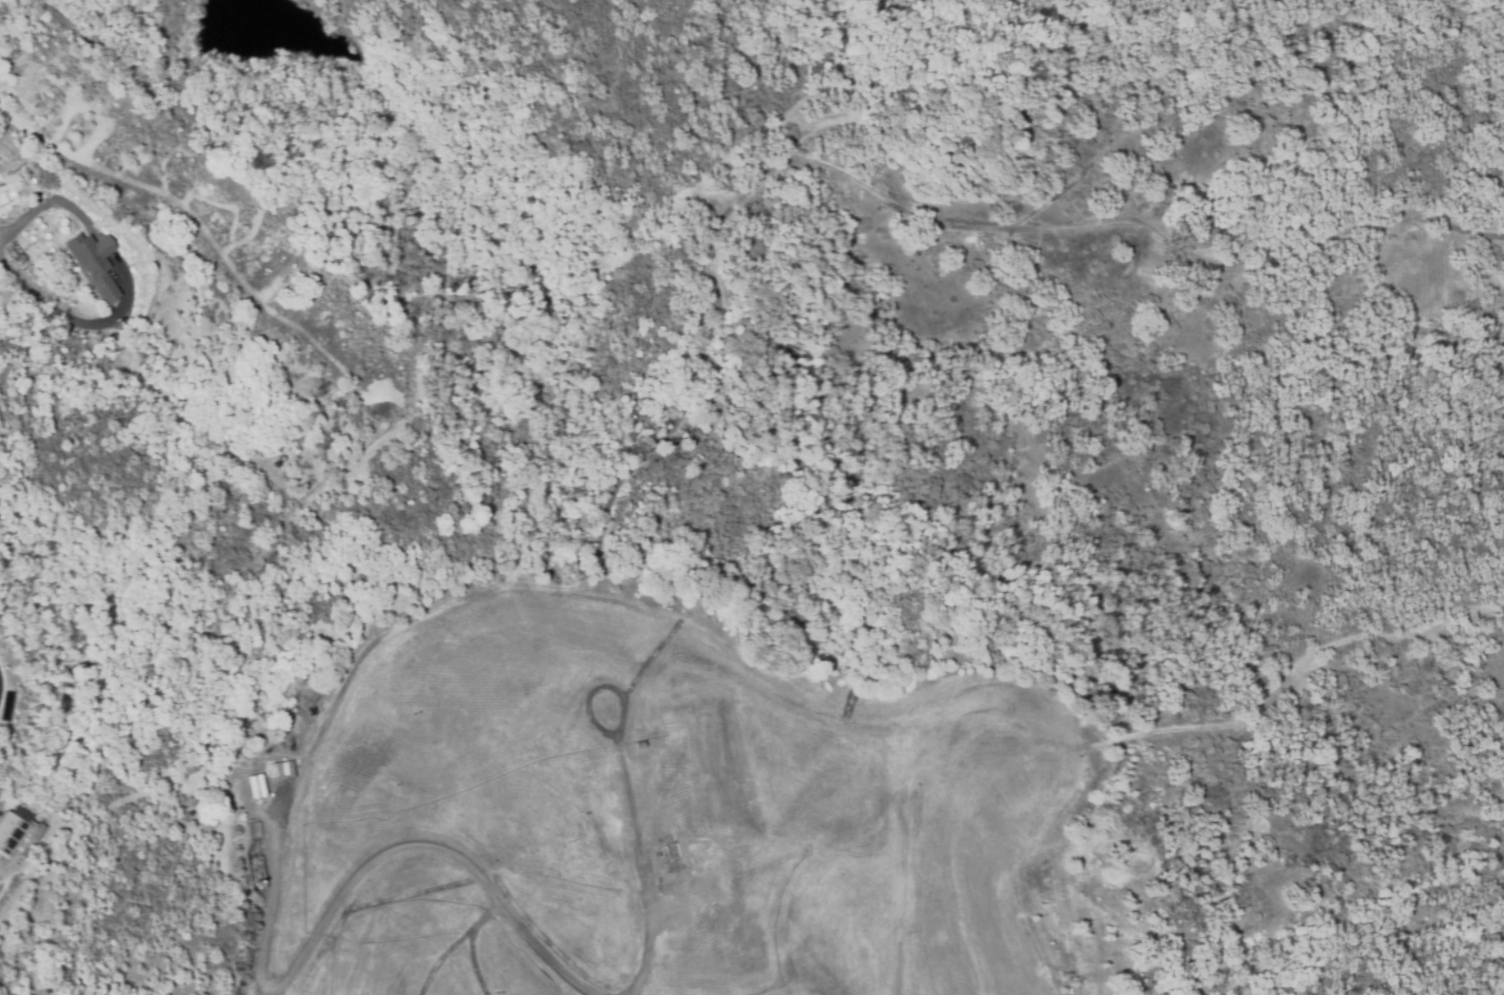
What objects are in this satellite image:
road: (48, 201)
road: (101, 246)
building: (92, 266)
road: (82, 323)
building: (638, 744)
building: (18, 832)

